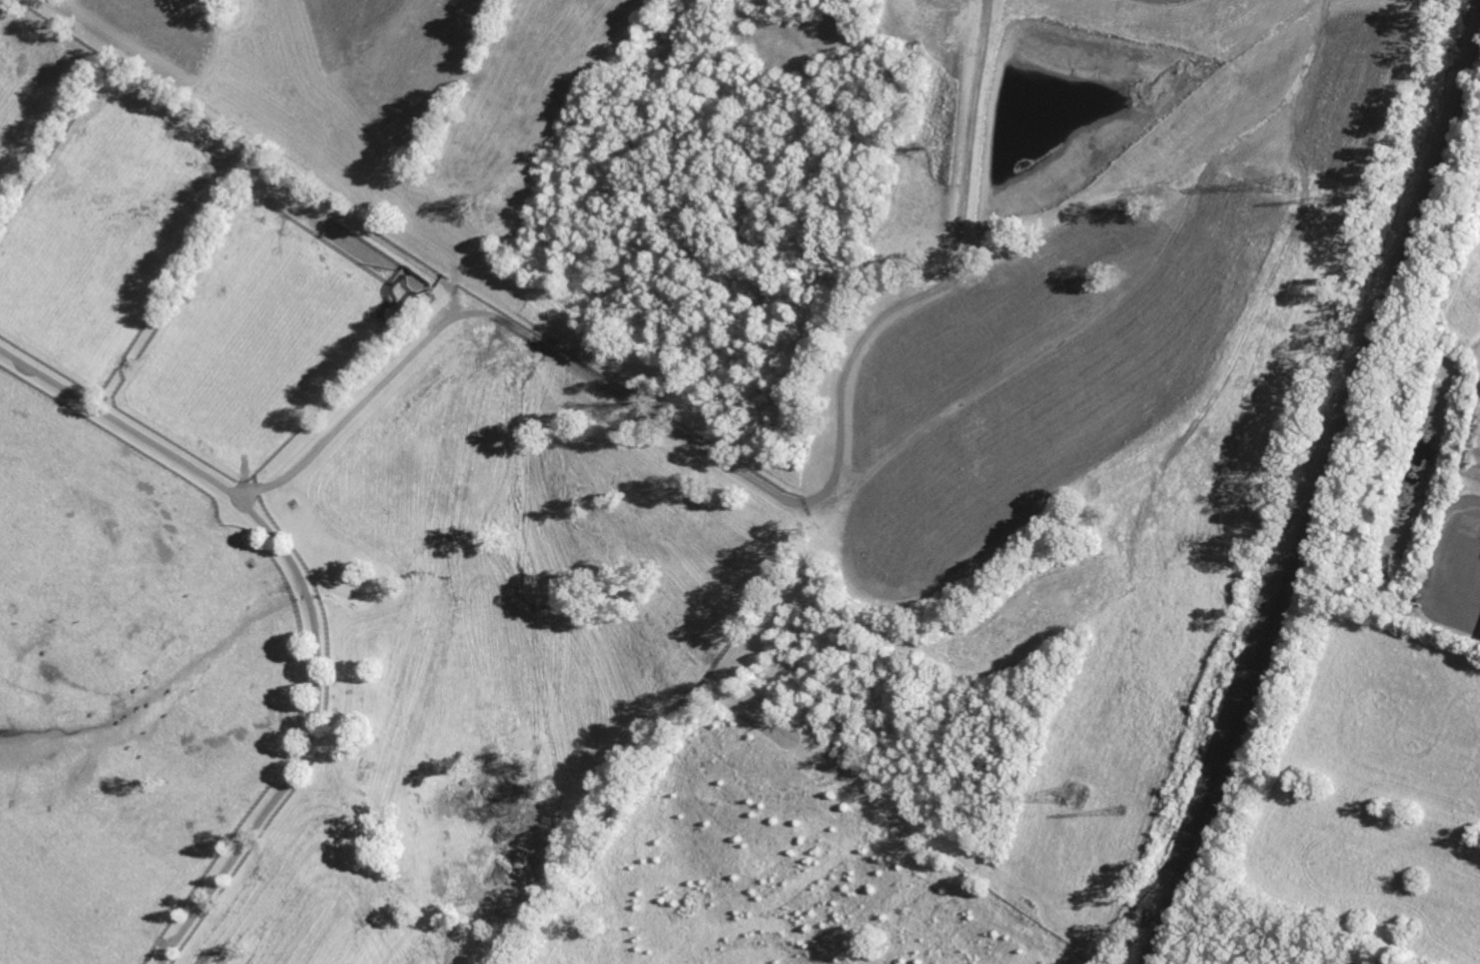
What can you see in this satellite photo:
power tower: (1288, 180)
power tower: (1333, 199)
road: (750, 479)
railway: (1315, 495)
road: (1465, 541)
road: (309, 601)
power tower: (1079, 803)
power tower: (1122, 820)

